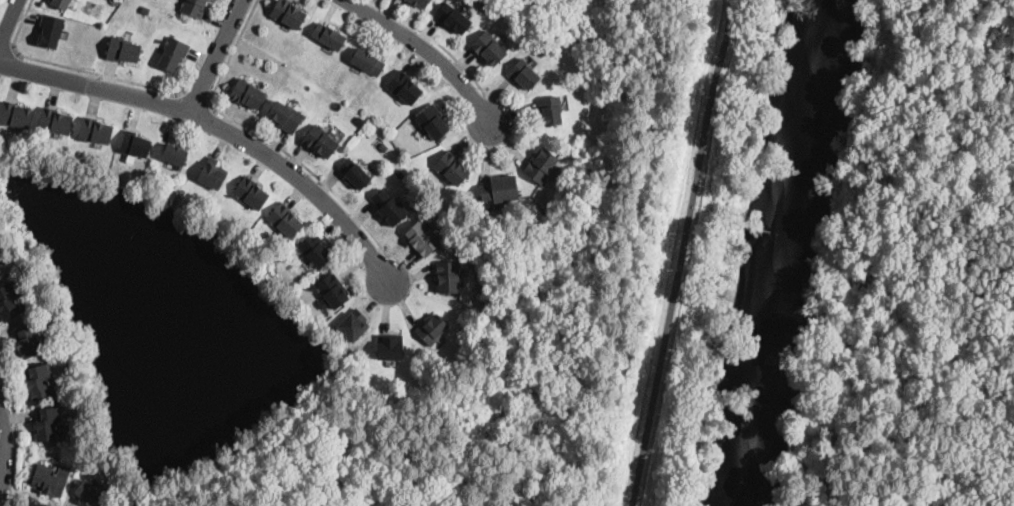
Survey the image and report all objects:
building: (420, 3)
building: (61, 4)
building: (194, 7)
building: (145, 9)
building: (288, 13)
building: (454, 17)
road: (8, 25)
building: (51, 30)
building: (328, 36)
road: (434, 41)
building: (488, 47)
road: (6, 48)
building: (123, 49)
road: (423, 53)
building: (173, 54)
road: (219, 55)
building: (367, 61)
road: (75, 68)
building: (524, 74)
building: (404, 87)
building: (247, 93)
road: (197, 98)
building: (550, 110)
building: (15, 114)
building: (285, 116)
building: (54, 121)
building: (431, 121)
road: (220, 126)
building: (169, 129)
building: (95, 130)
road: (263, 136)
building: (320, 141)
building: (135, 144)
building: (175, 156)
building: (542, 165)
building: (451, 167)
building: (212, 174)
building: (354, 174)
building: (501, 189)
building: (251, 192)
building: (389, 206)
park: (627, 218)
building: (284, 221)
building: (422, 238)
building: (315, 249)
road: (681, 253)
river: (790, 253)
building: (0, 268)
building: (0, 270)
building: (447, 277)
building: (332, 290)
building: (8, 303)
building: (353, 325)
building: (431, 329)
building: (27, 340)
building: (390, 347)
building: (39, 380)
building: (47, 424)
road: (16, 431)
building: (48, 480)
building: (88, 495)

